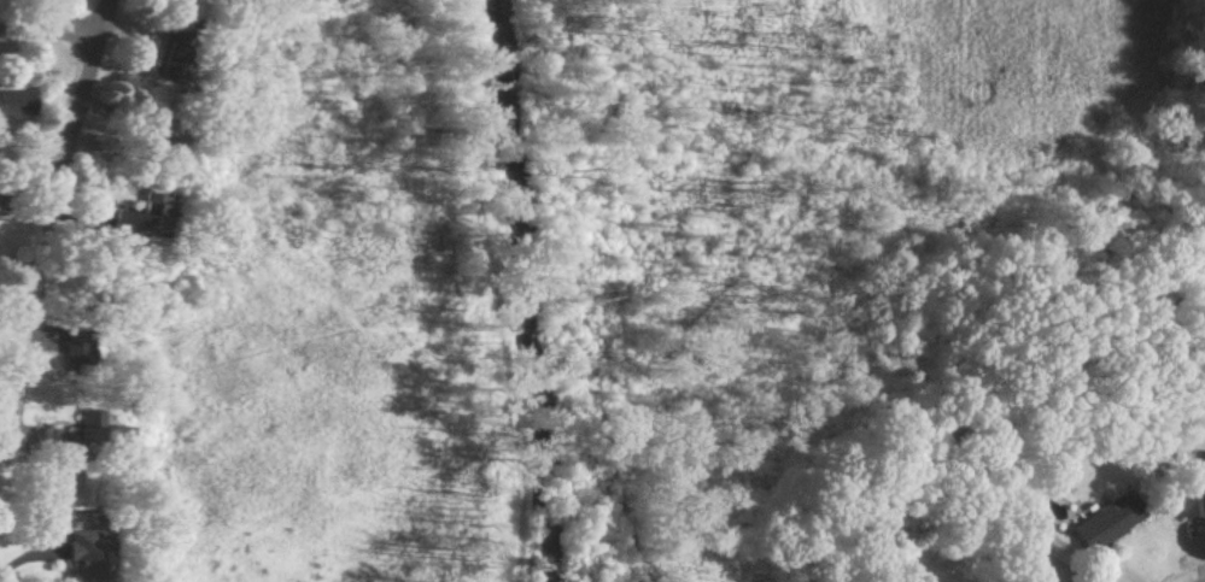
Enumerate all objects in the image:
road: (51, 35)
road: (87, 88)
building: (14, 102)
building: (135, 214)
road: (37, 301)
building: (70, 348)
building: (90, 431)
building: (1188, 500)
building: (1098, 522)
road: (19, 554)
building: (80, 554)
building: (1025, 581)

